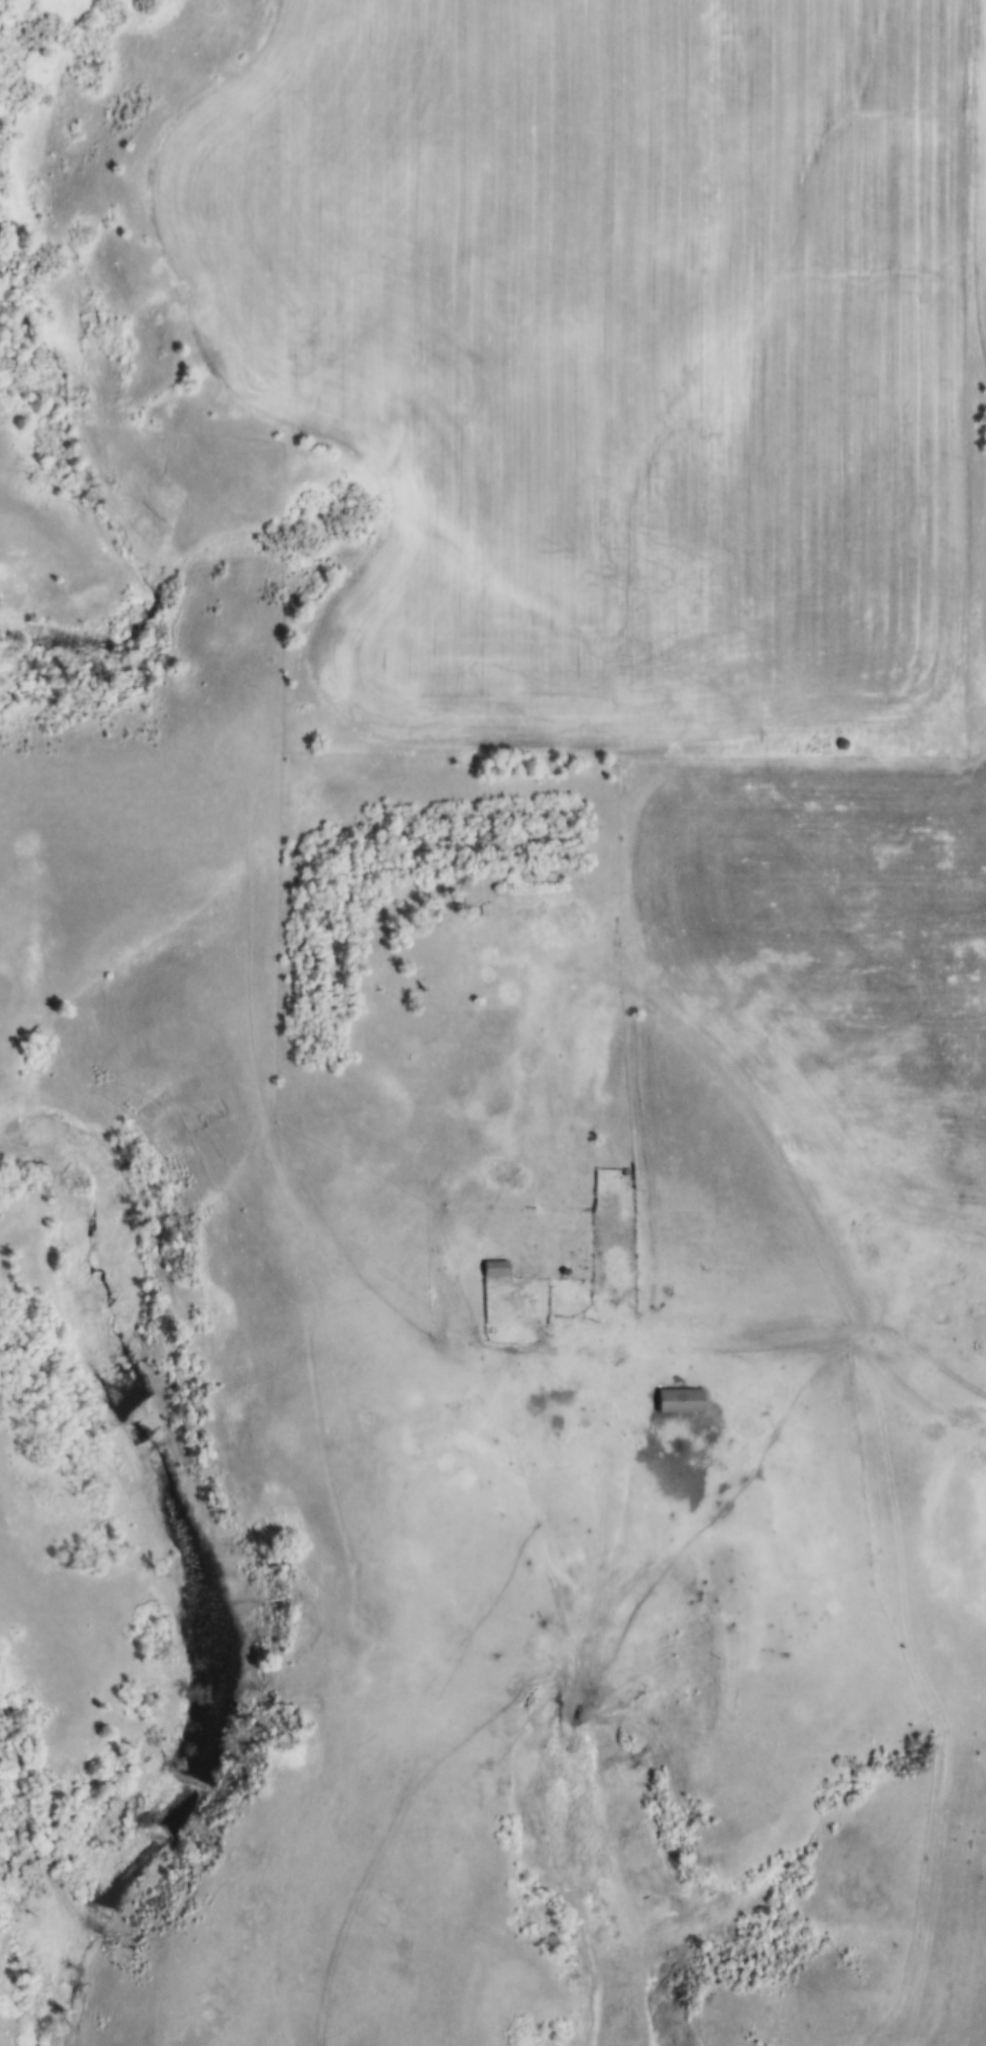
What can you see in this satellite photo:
building: (631, 1168)
road: (805, 1209)
building: (501, 1262)
building: (569, 1266)
silo: (569, 1266)
road: (774, 1336)
building: (685, 1396)

